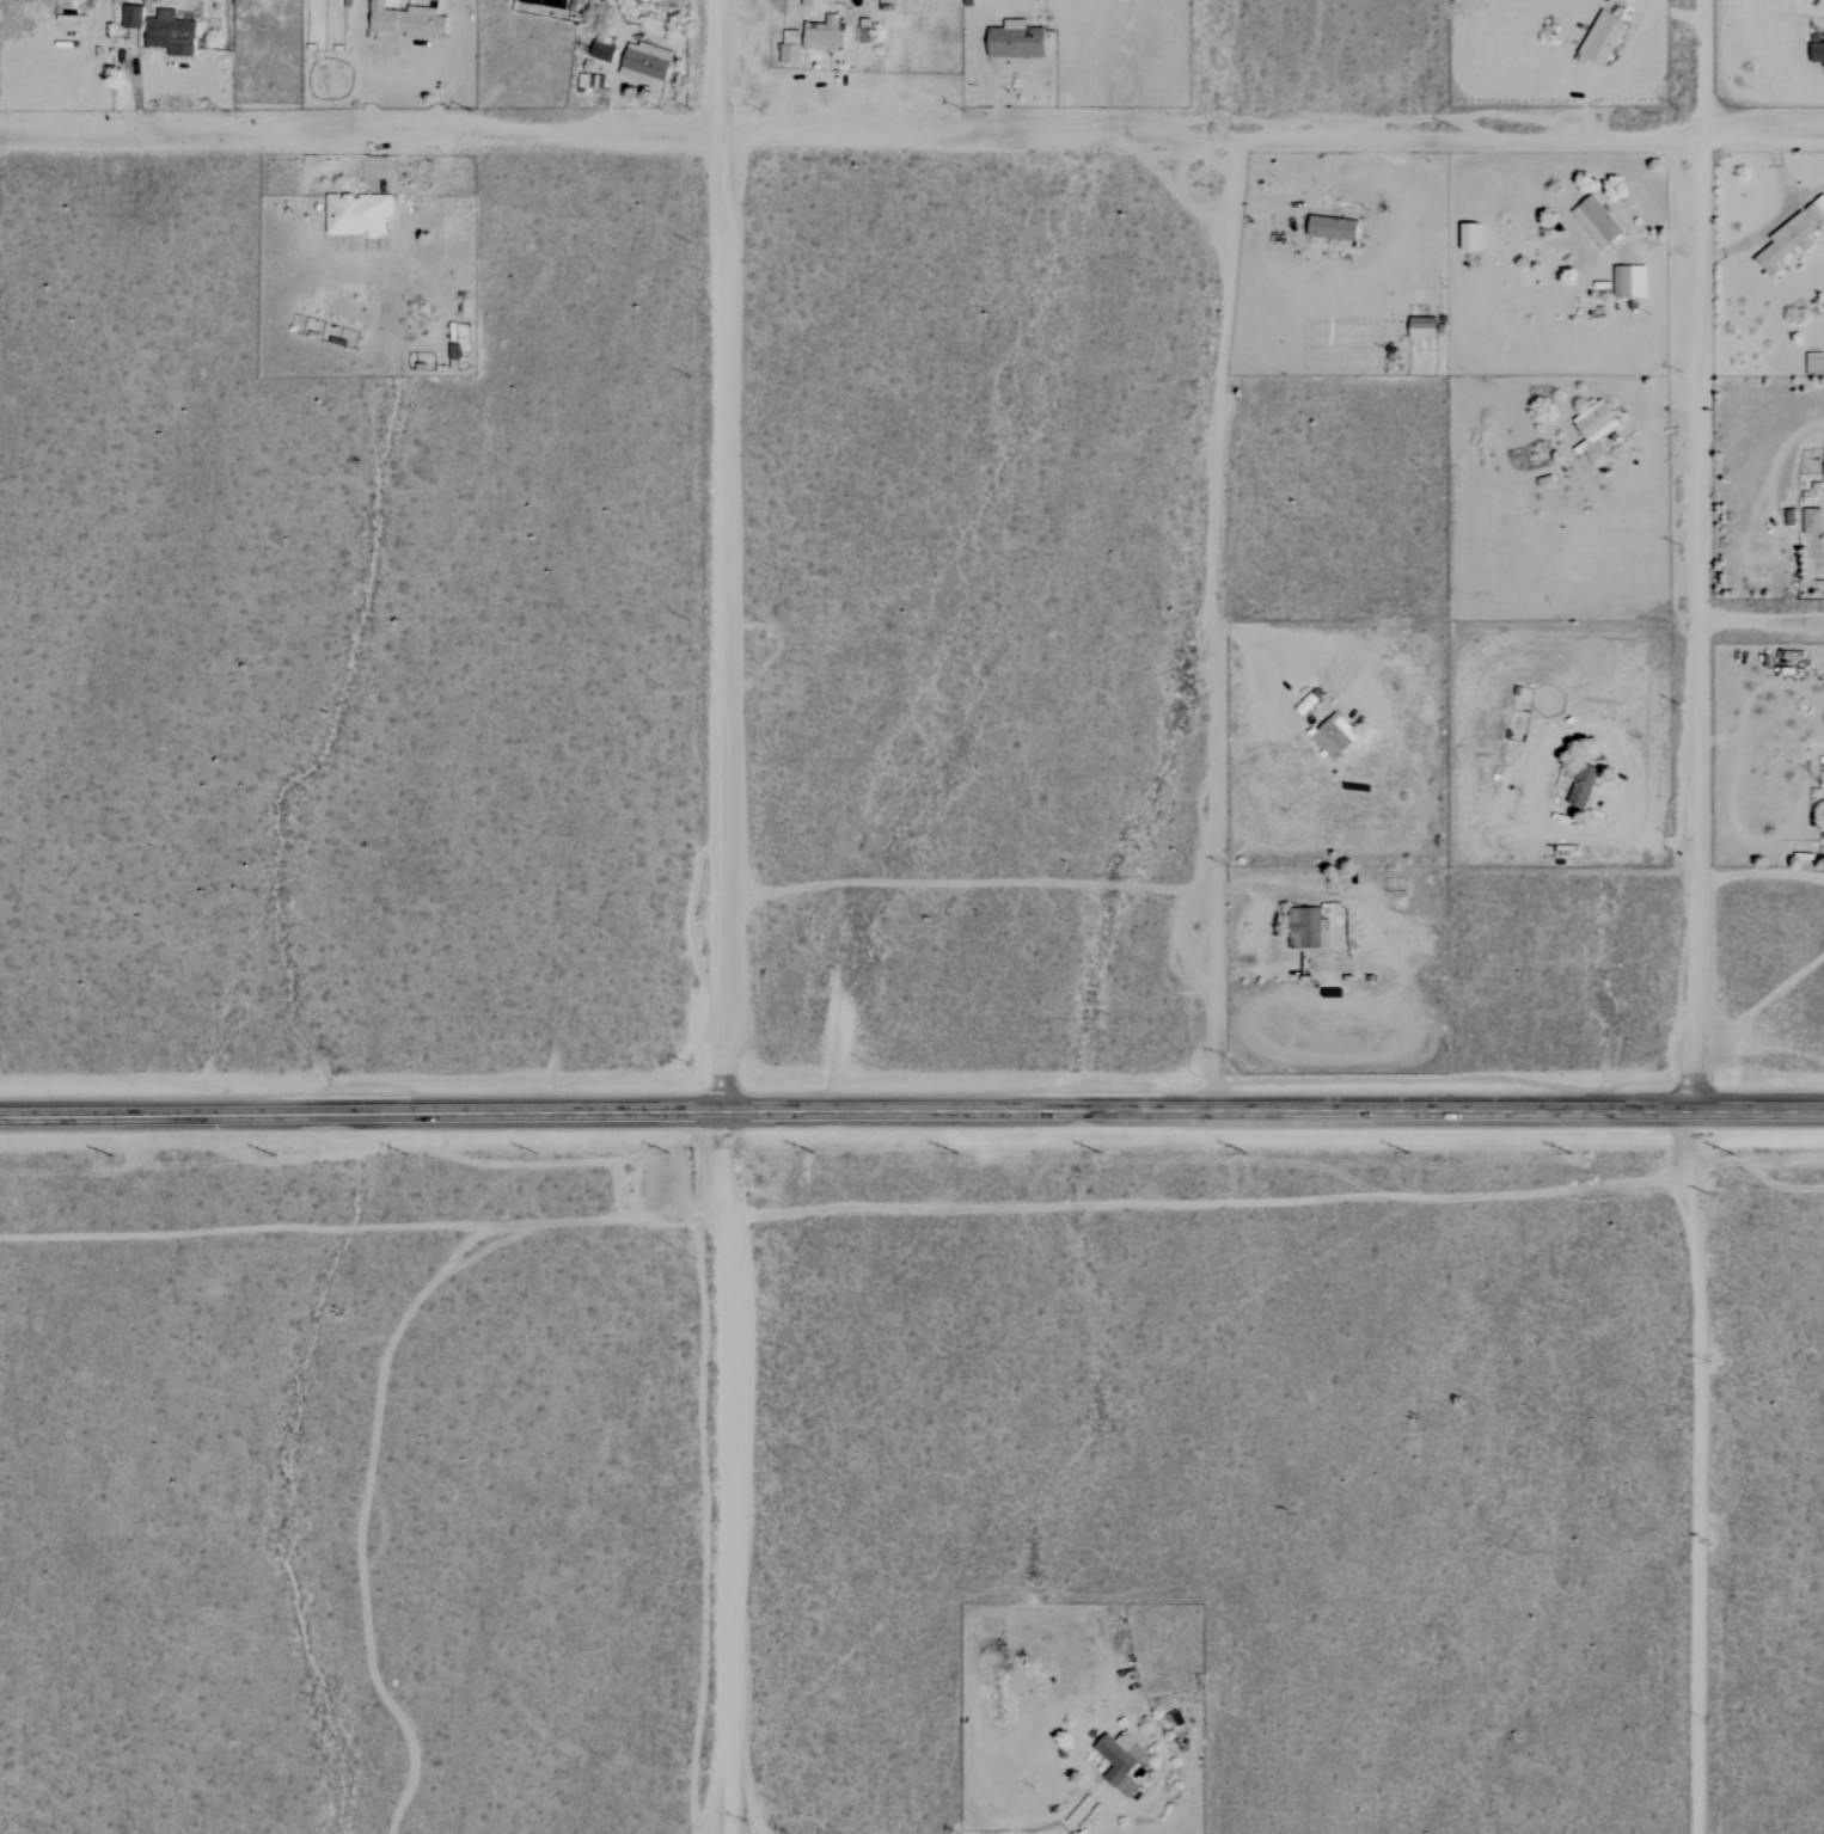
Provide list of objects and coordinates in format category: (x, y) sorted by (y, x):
building: (1620, 1)
building: (135, 17)
building: (411, 22)
building: (176, 33)
building: (822, 36)
building: (1599, 38)
building: (1012, 41)
building: (606, 53)
building: (789, 54)
building: (649, 63)
road: (1627, 65)
road: (365, 88)
road: (846, 142)
road: (1758, 147)
road: (1300, 200)
building: (361, 214)
building: (1600, 221)
road: (1768, 226)
building: (1338, 227)
building: (1794, 240)
road: (1654, 244)
building: (1633, 281)
building: (1427, 327)
building: (1816, 367)
building: (1599, 429)
building: (1816, 521)
road: (1817, 553)
road: (717, 554)
road: (1222, 626)
road: (1753, 626)
building: (1339, 736)
road: (1534, 766)
building: (1586, 784)
road: (1266, 900)
road: (1687, 916)
building: (1310, 928)
road: (911, 1110)
road: (722, 1164)
road: (1210, 1203)
road: (720, 1526)
road: (950, 1574)
building: (1122, 1762)

